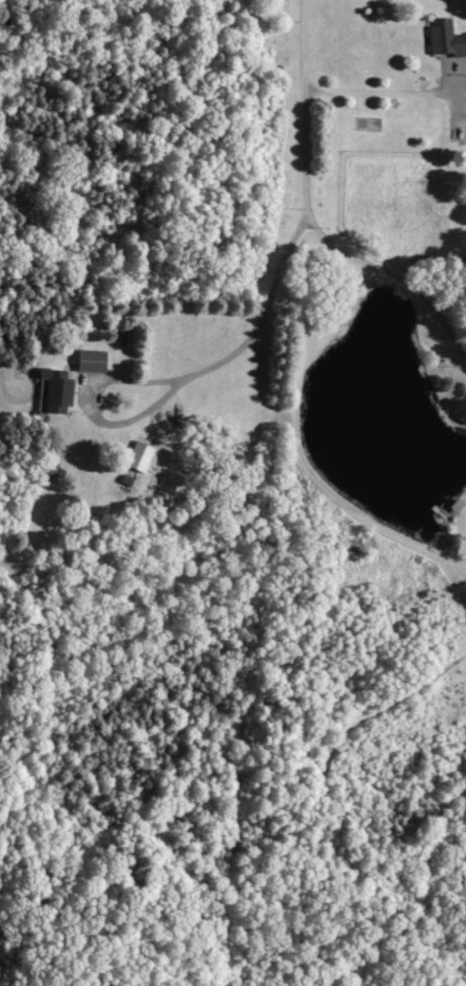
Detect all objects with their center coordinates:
building: (444, 37)
road: (386, 93)
road: (312, 216)
building: (88, 360)
road: (181, 379)
building: (54, 390)
building: (137, 456)

